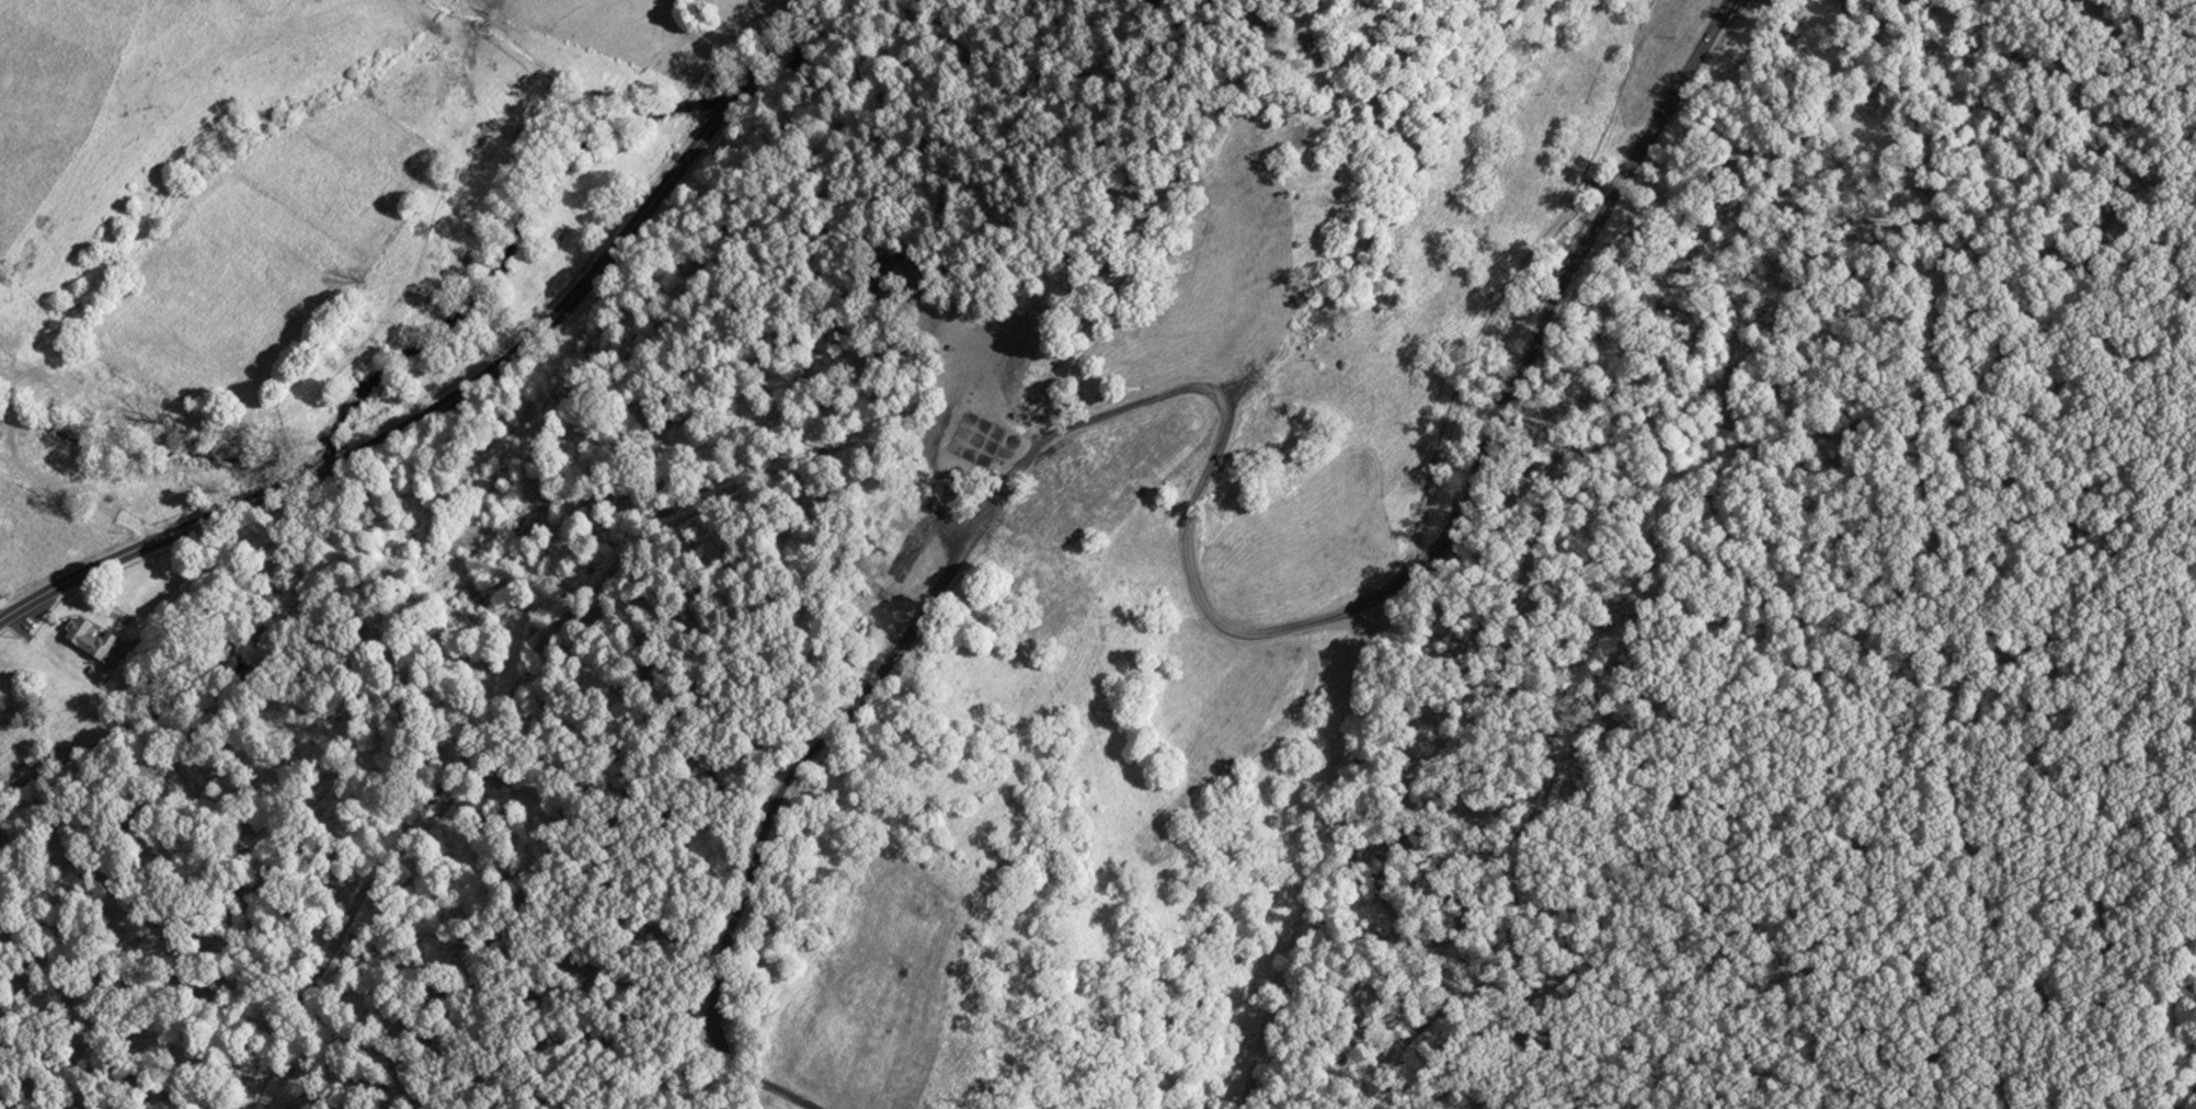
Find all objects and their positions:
road: (464, 389)

